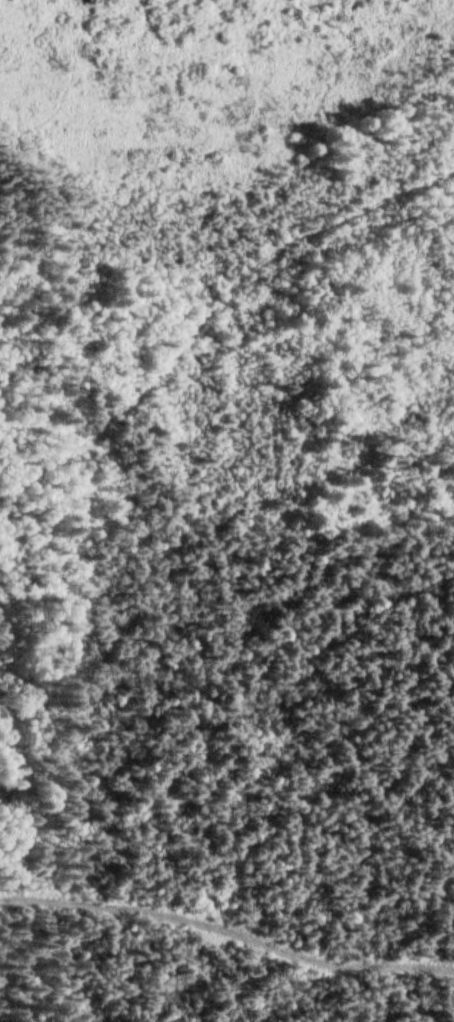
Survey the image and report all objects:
road: (223, 332)
road: (227, 925)

